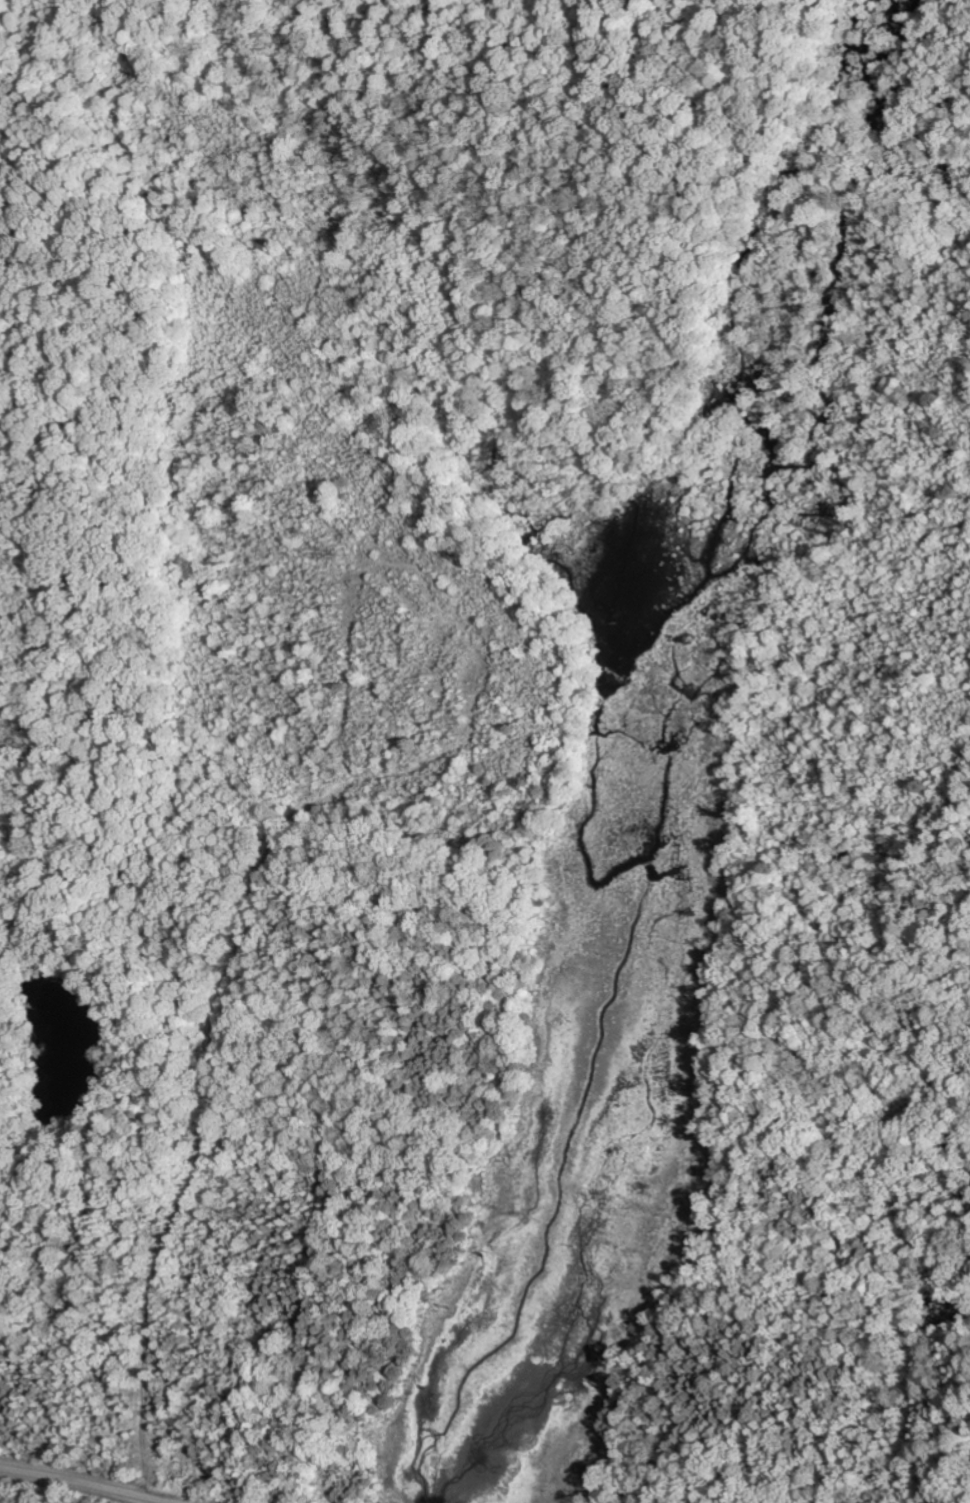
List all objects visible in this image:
road: (86, 1484)

